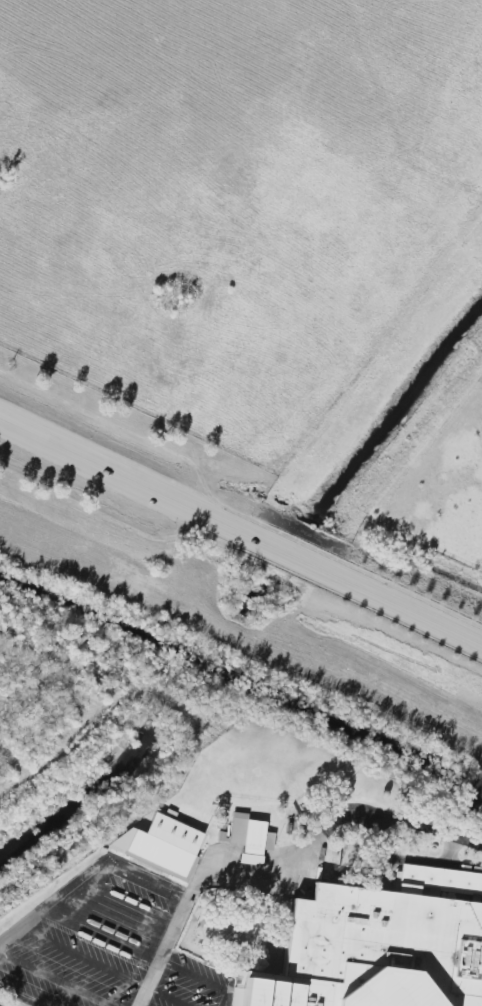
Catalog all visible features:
road: (241, 534)
road: (469, 808)
building: (248, 838)
building: (162, 845)
road: (275, 856)
road: (408, 862)
road: (460, 867)
road: (408, 877)
road: (154, 880)
building: (441, 882)
theme park: (262, 893)
road: (57, 905)
road: (400, 949)
building: (377, 951)
road: (89, 959)
road: (196, 975)
road: (57, 980)
road: (22, 995)
road: (169, 998)
road: (228, 999)

